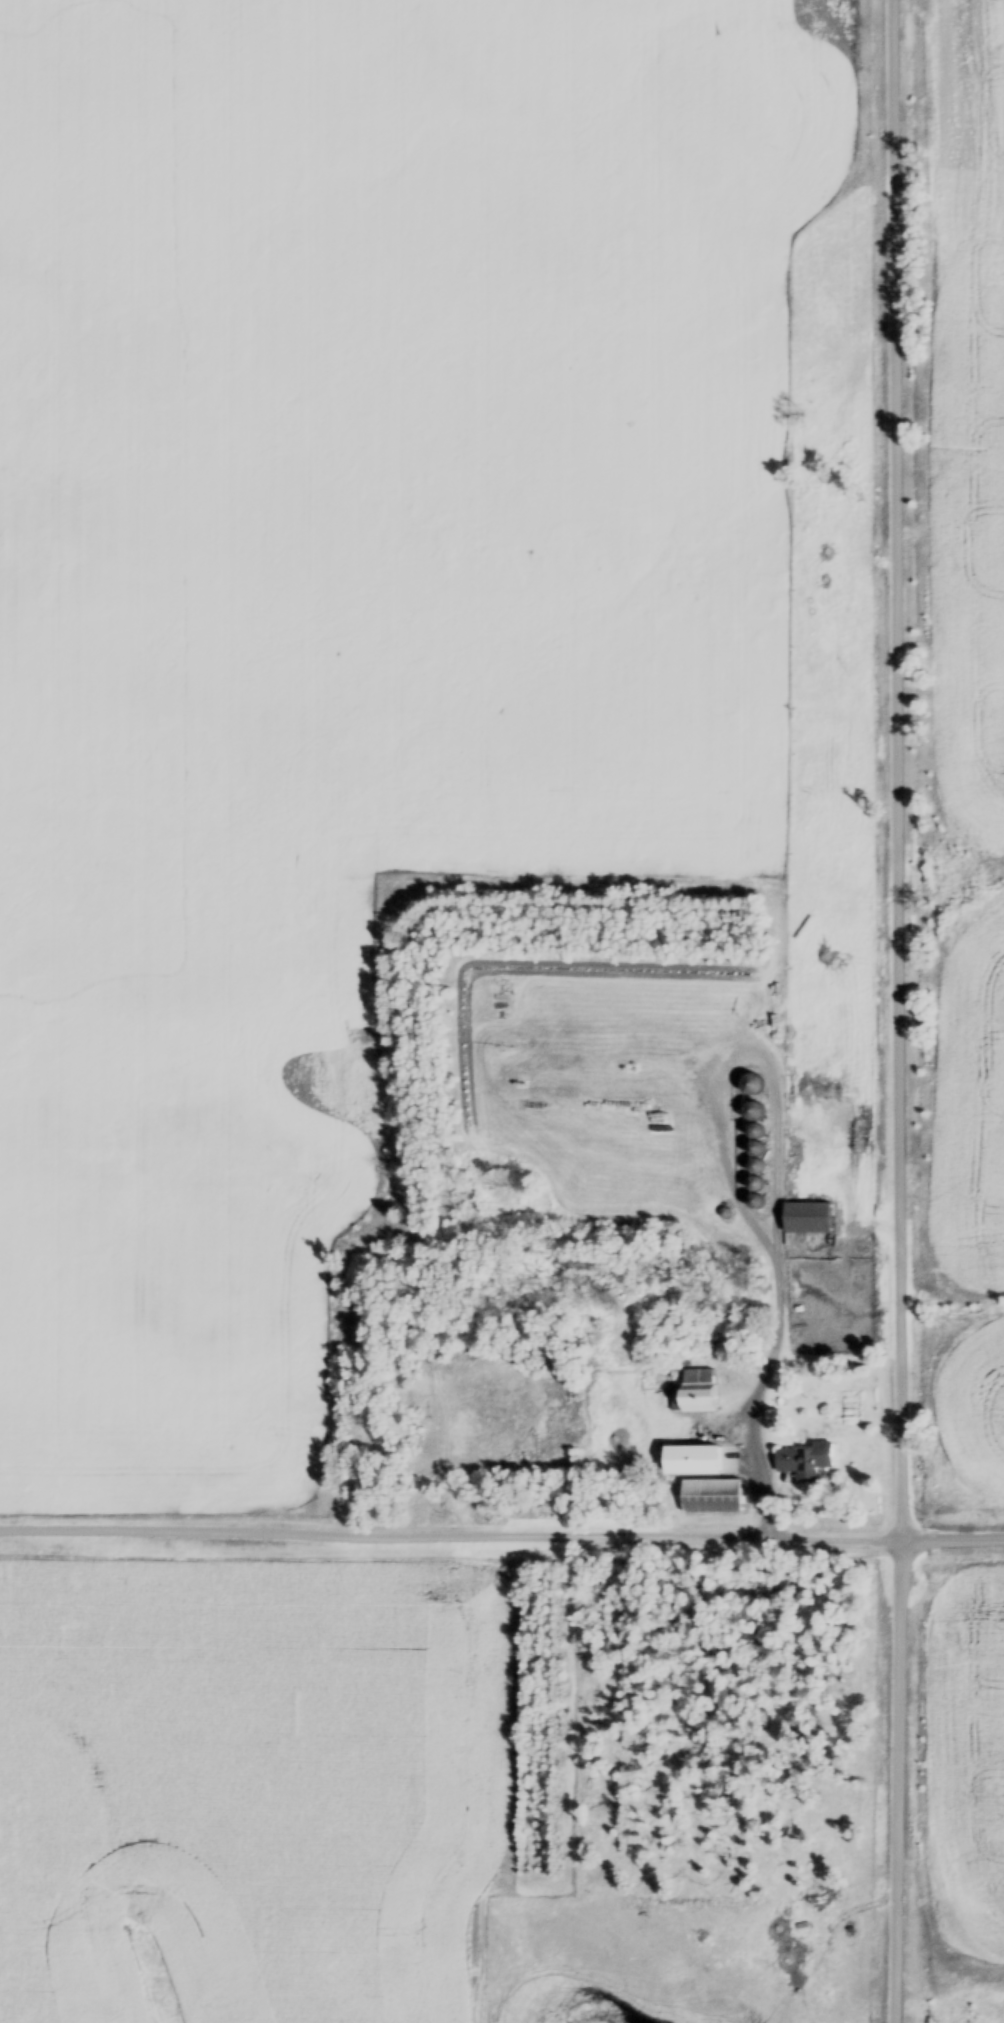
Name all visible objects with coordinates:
road: (895, 1011)
building: (754, 1111)
building: (808, 1217)
building: (693, 1395)
building: (708, 1460)
building: (802, 1462)
road: (752, 1471)
building: (712, 1496)
road: (501, 1533)

